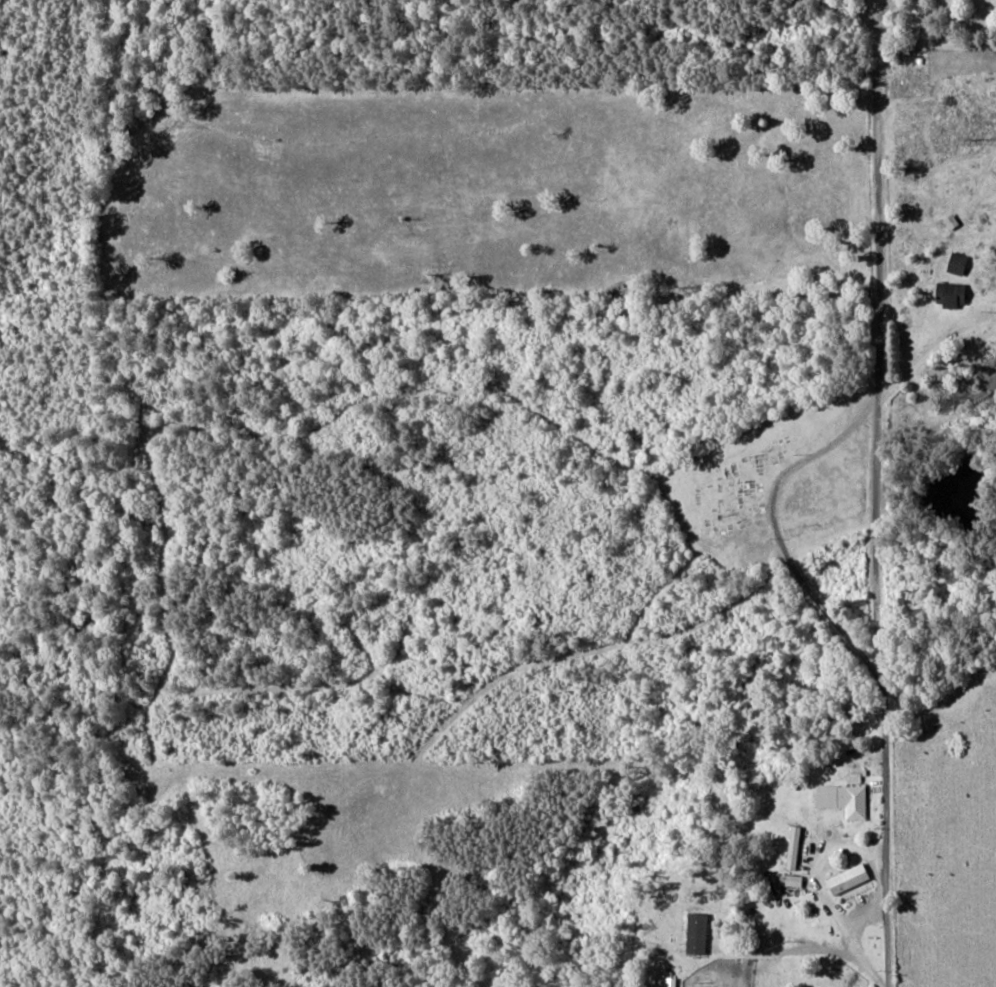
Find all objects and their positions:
building: (951, 222)
building: (957, 264)
building: (951, 295)
road: (885, 772)
building: (831, 797)
building: (855, 802)
building: (794, 847)
building: (796, 881)
building: (850, 881)

